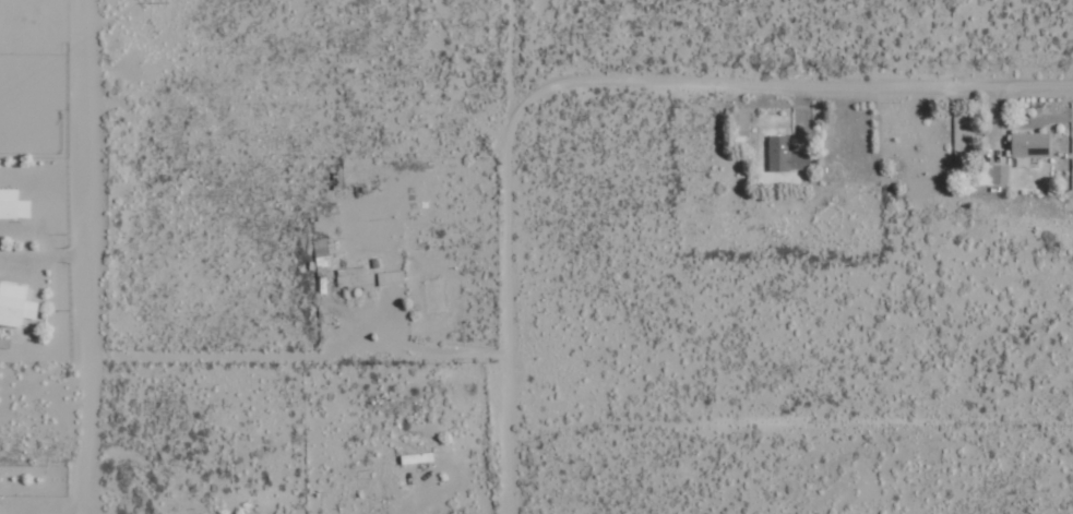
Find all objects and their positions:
road: (111, 15)
road: (508, 56)
road: (788, 75)
building: (1032, 144)
building: (787, 157)
building: (995, 175)
building: (13, 205)
building: (322, 252)
road: (87, 256)
building: (356, 275)
building: (391, 277)
building: (16, 304)
road: (509, 311)

